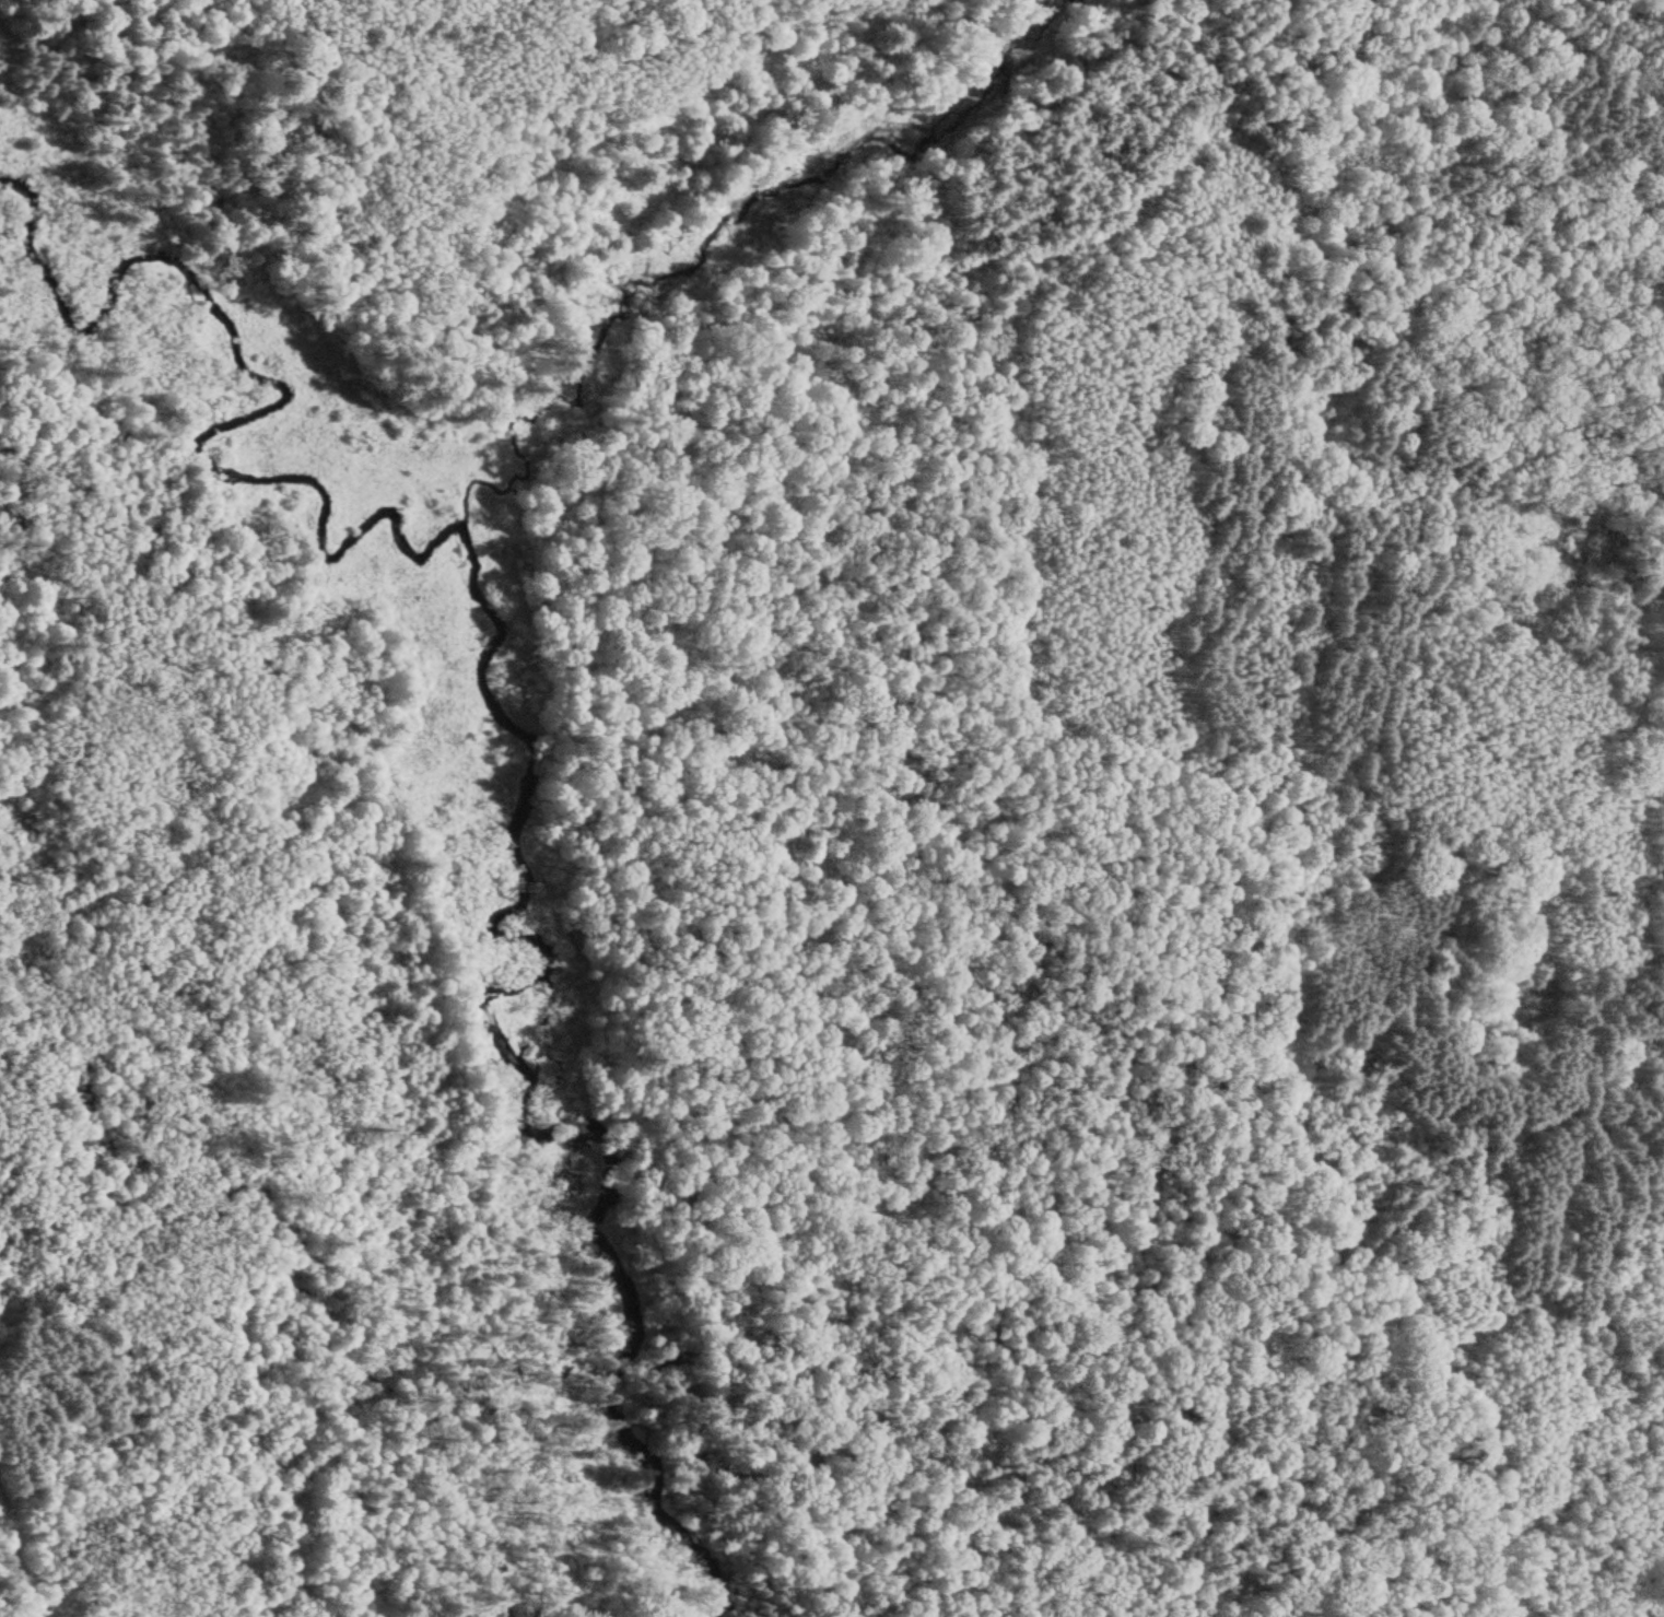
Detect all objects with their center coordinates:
road: (1359, 73)

